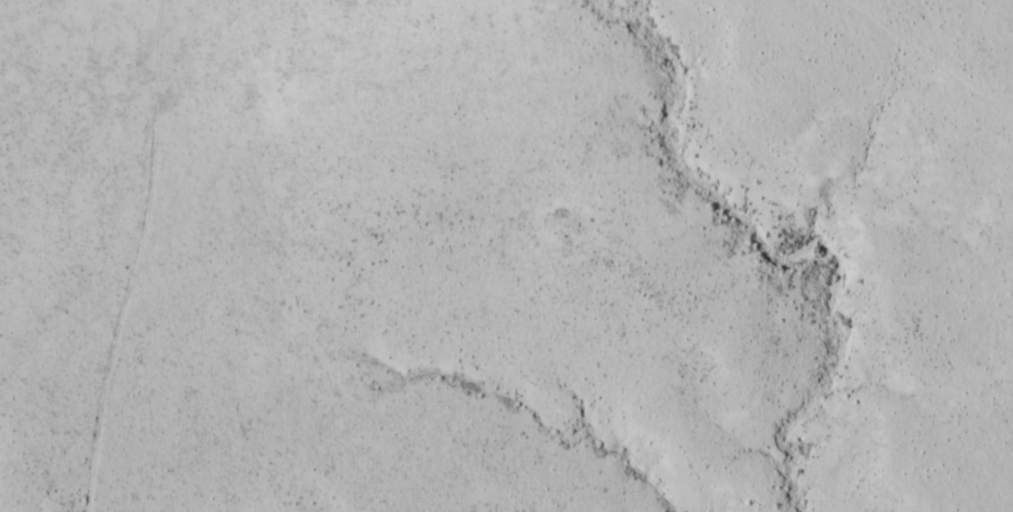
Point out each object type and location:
road: (11, 105)

